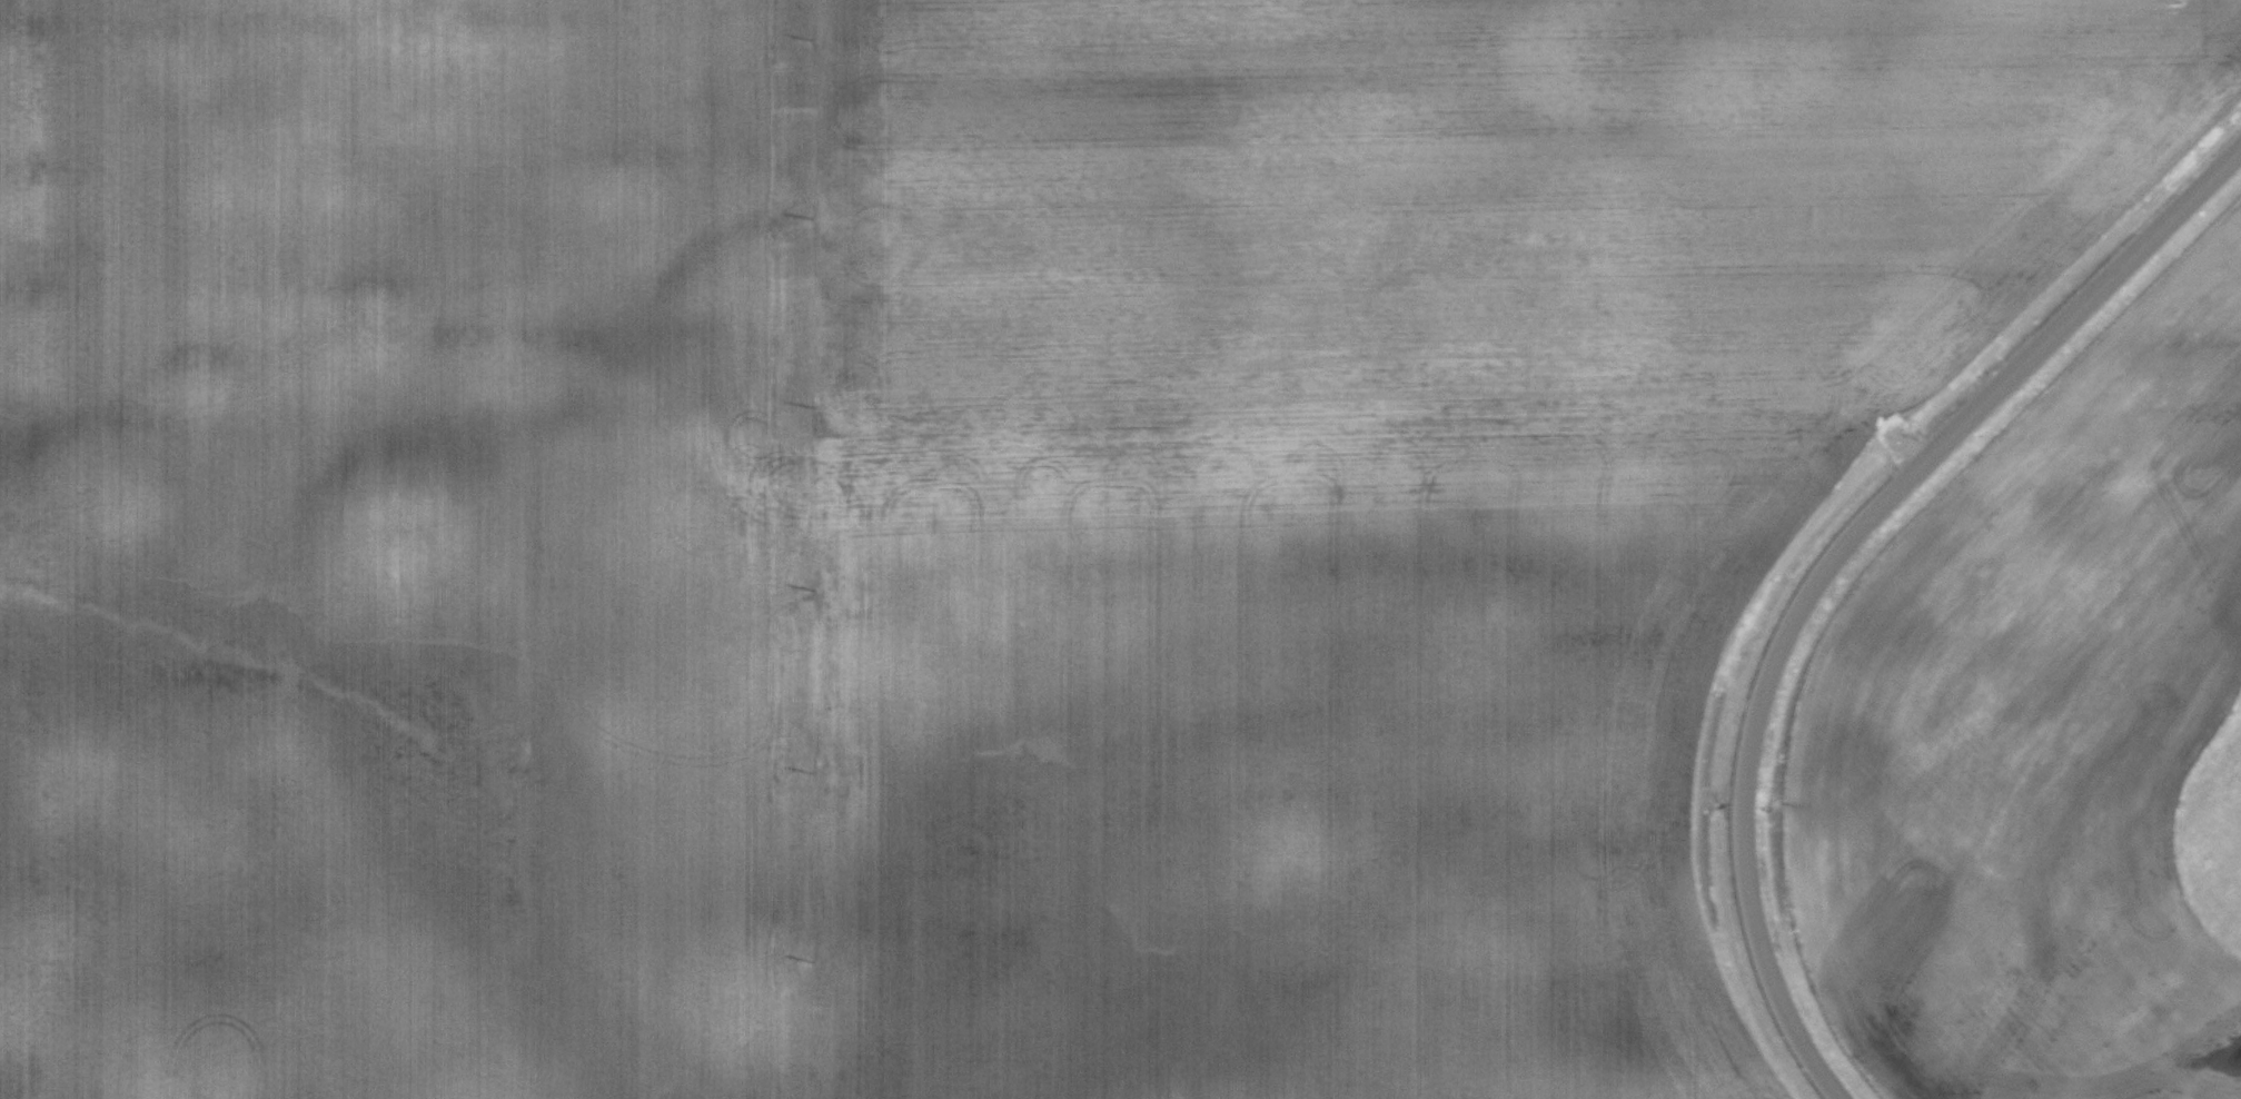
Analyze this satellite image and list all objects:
road: (1830, 560)
airport: (2053, 749)

